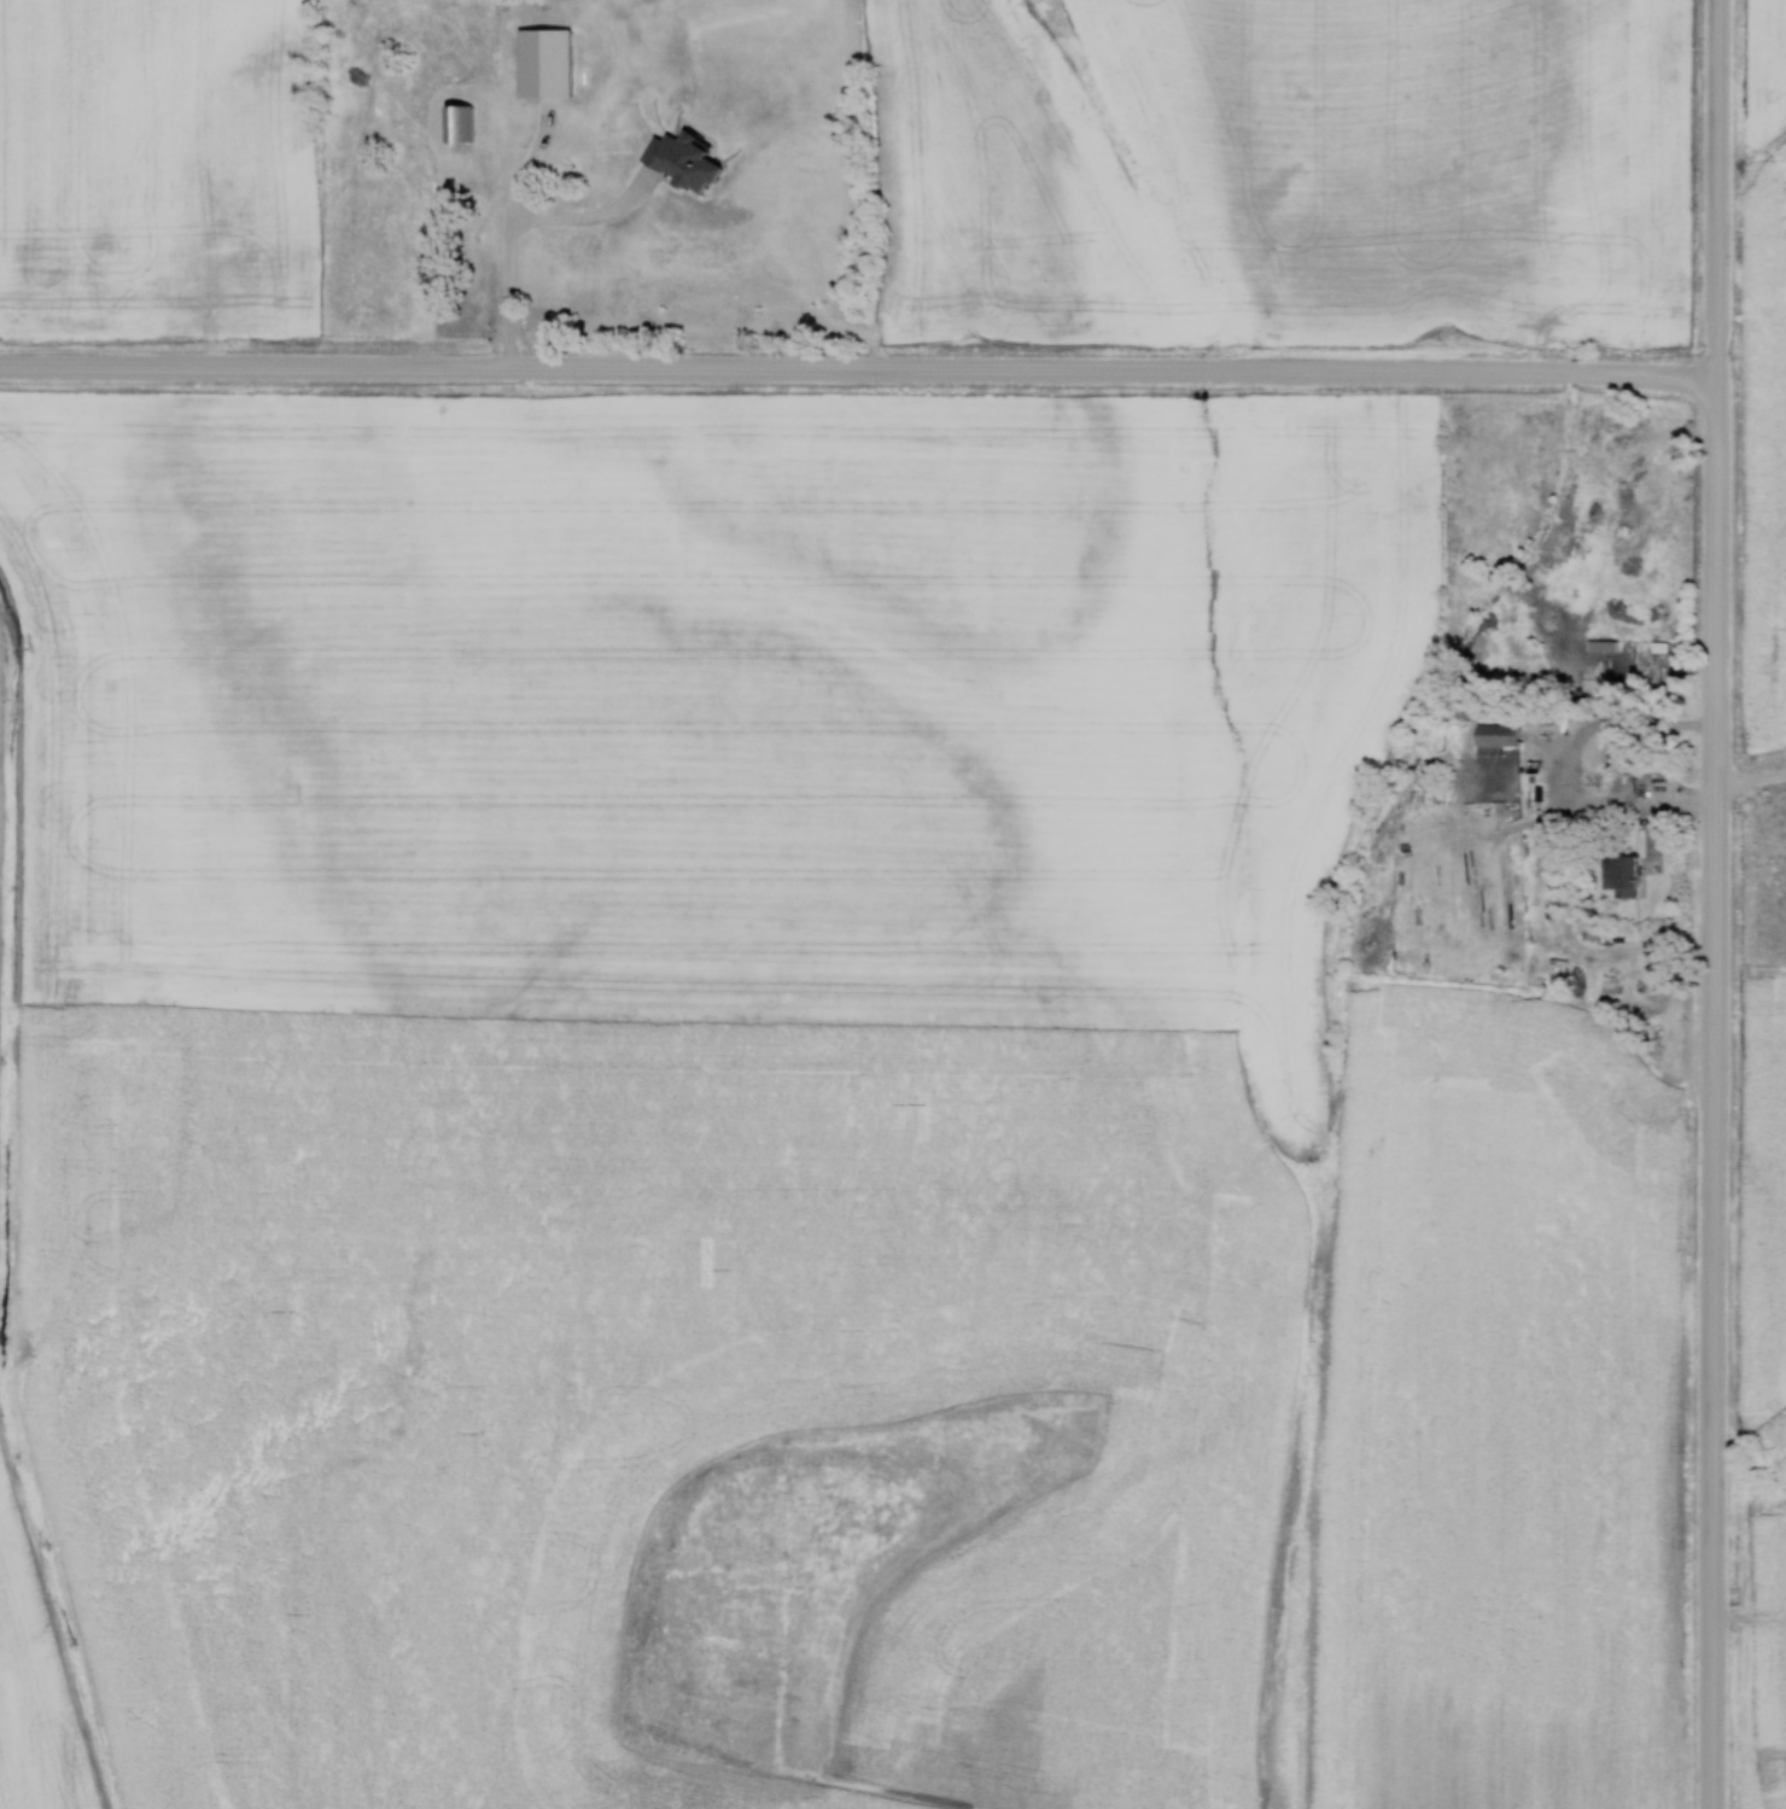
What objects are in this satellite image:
building: (541, 65)
building: (455, 127)
road: (497, 240)
building: (551, 241)
road: (857, 370)
building: (1575, 603)
building: (1492, 739)
building: (1636, 760)
road: (1750, 781)
building: (1617, 875)
road: (1714, 904)

